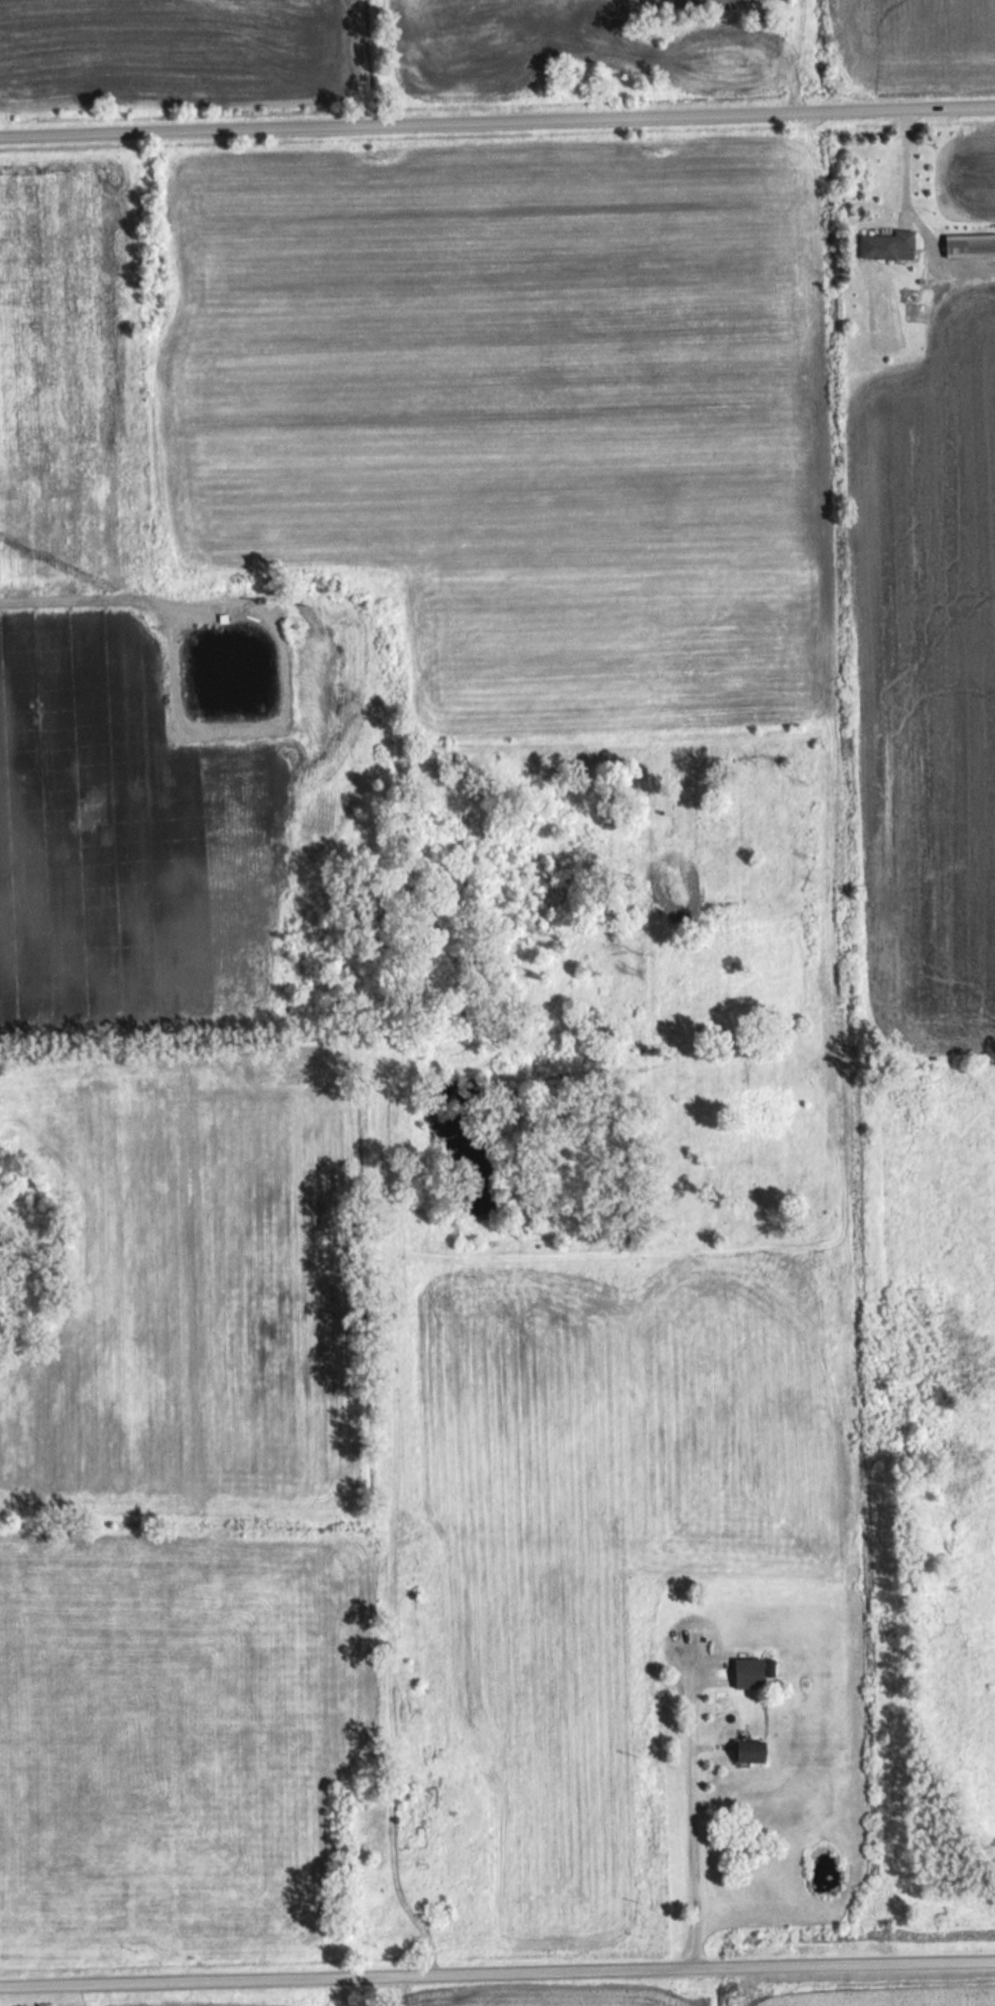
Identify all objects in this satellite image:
road: (497, 118)
road: (911, 178)
building: (889, 245)
building: (971, 245)
building: (752, 1674)
building: (755, 1752)
building: (421, 1810)
road: (695, 1818)
road: (497, 1968)

